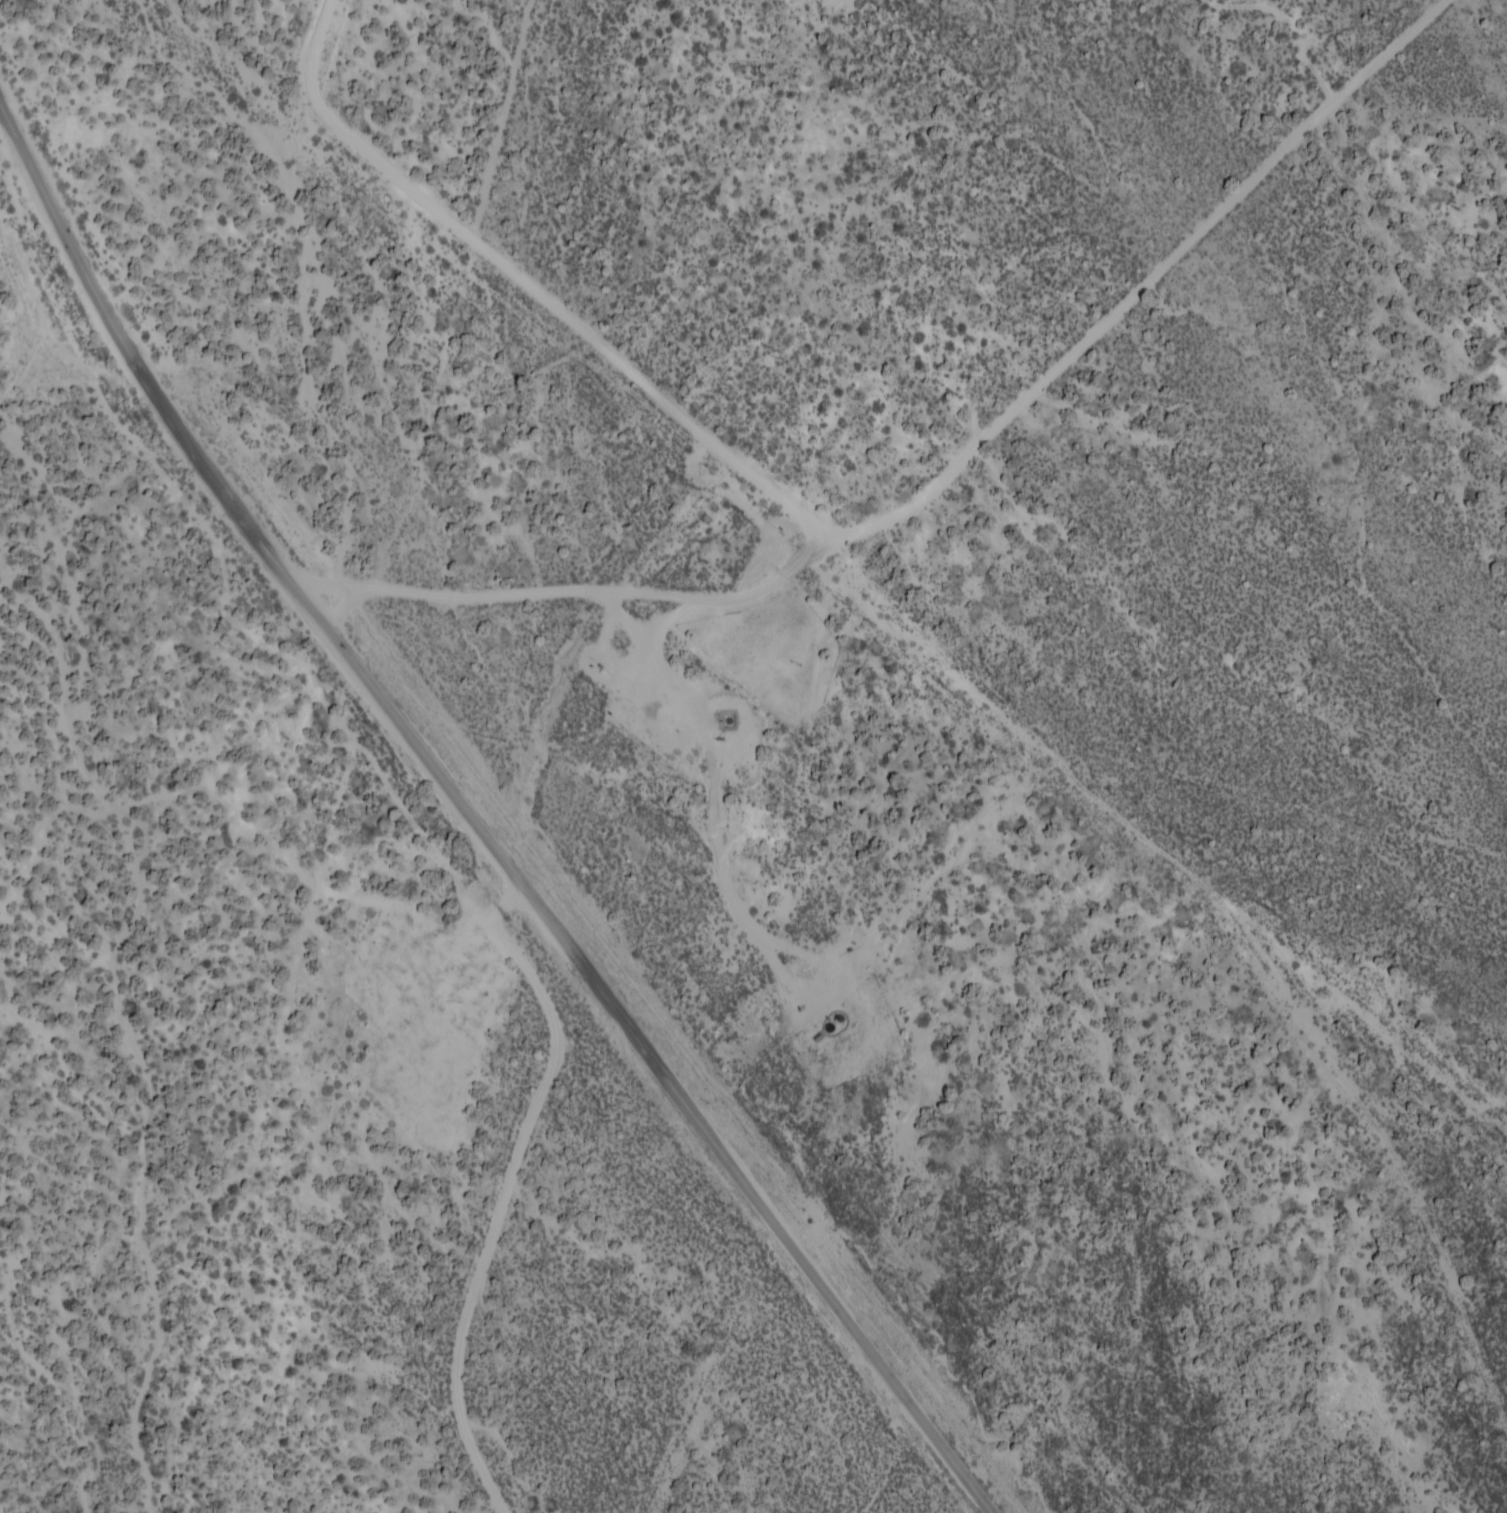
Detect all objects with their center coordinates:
road: (980, 555)
road: (674, 797)
road: (478, 817)
road: (511, 1179)

